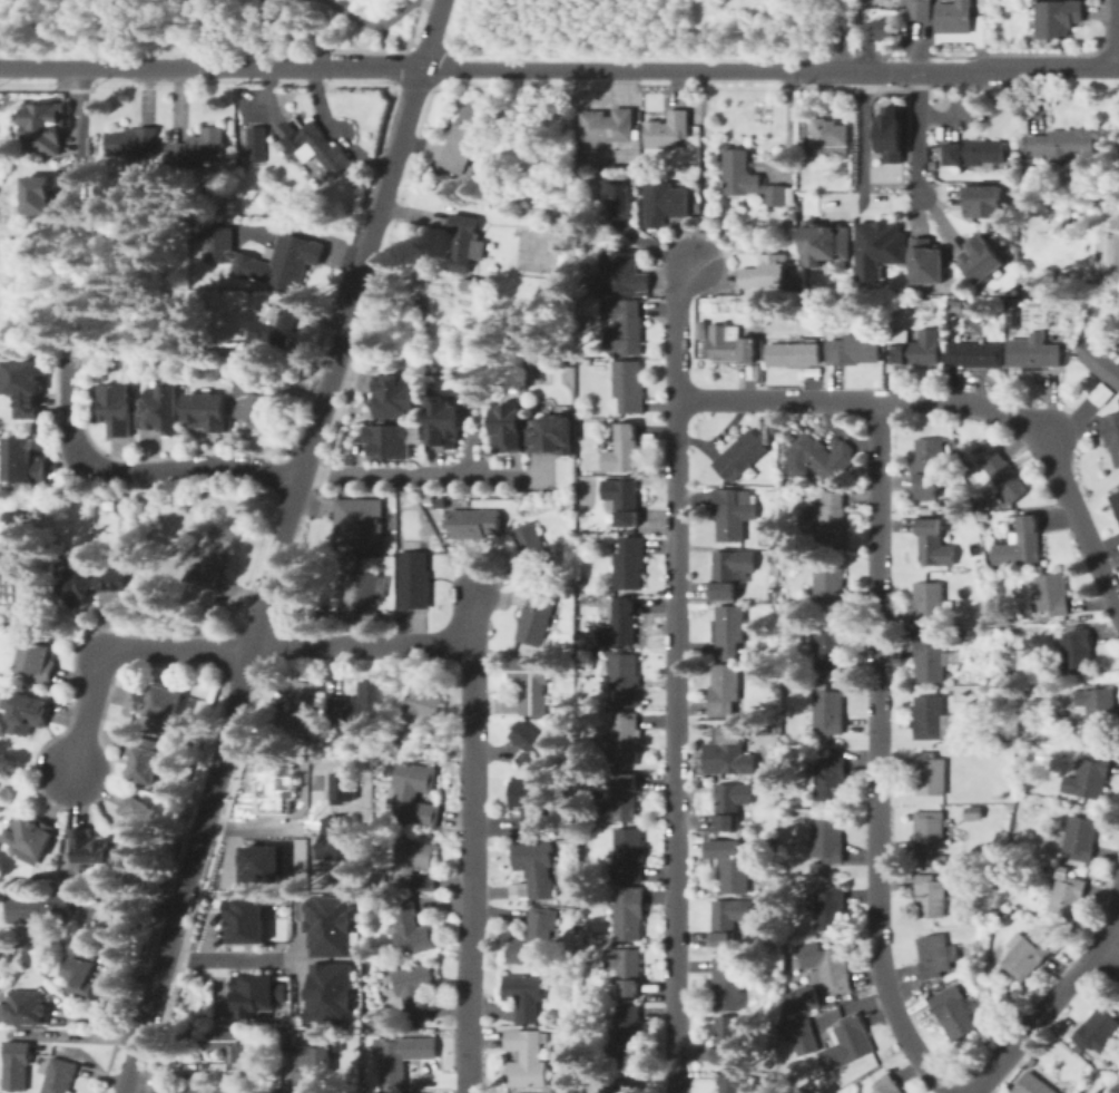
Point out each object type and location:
road: (251, 4)
road: (267, 4)
building: (920, 11)
building: (954, 16)
building: (1058, 19)
road: (383, 20)
park: (199, 26)
building: (882, 26)
road: (181, 29)
road: (293, 29)
street lamp: (415, 33)
road: (1118, 33)
road: (433, 35)
road: (835, 35)
road: (383, 36)
road: (380, 49)
road: (1106, 49)
road: (1057, 51)
road: (413, 58)
road: (1051, 67)
road: (396, 68)
road: (889, 69)
road: (80, 77)
road: (949, 85)
road: (45, 87)
building: (43, 125)
road: (79, 125)
building: (606, 125)
building: (668, 130)
road: (916, 131)
road: (861, 133)
building: (890, 133)
building: (467, 137)
building: (830, 137)
building: (136, 143)
building: (259, 143)
building: (1063, 144)
building: (314, 145)
building: (202, 147)
building: (974, 153)
road: (699, 166)
building: (583, 170)
building: (747, 176)
building: (617, 197)
building: (50, 201)
building: (987, 201)
road: (383, 202)
building: (664, 203)
building: (695, 206)
building: (791, 207)
building: (561, 215)
building: (792, 223)
building: (582, 235)
building: (1014, 235)
building: (826, 240)
building: (464, 243)
building: (878, 248)
building: (983, 257)
building: (1111, 258)
building: (237, 260)
building: (930, 261)
building: (841, 264)
building: (622, 271)
building: (763, 273)
building: (471, 283)
building: (884, 286)
building: (894, 305)
building: (956, 308)
building: (1011, 315)
building: (627, 322)
building: (700, 324)
building: (276, 331)
building: (730, 344)
building: (230, 347)
building: (915, 347)
building: (854, 349)
building: (793, 352)
building: (1033, 352)
building: (975, 354)
building: (1102, 361)
building: (759, 371)
building: (629, 386)
building: (26, 387)
building: (396, 396)
road: (958, 399)
building: (261, 400)
road: (321, 407)
building: (117, 409)
building: (164, 410)
building: (210, 411)
building: (445, 422)
building: (773, 426)
building: (510, 427)
building: (796, 430)
building: (1111, 432)
building: (553, 435)
building: (789, 437)
building: (387, 440)
building: (621, 448)
building: (740, 453)
road: (472, 455)
building: (818, 458)
building: (24, 461)
building: (927, 467)
road: (139, 475)
road: (424, 475)
building: (1004, 475)
building: (622, 499)
building: (122, 502)
building: (1115, 502)
building: (733, 513)
building: (984, 515)
building: (827, 521)
building: (474, 523)
building: (359, 524)
building: (17, 529)
building: (764, 540)
building: (1021, 541)
building: (449, 543)
building: (934, 543)
building: (531, 550)
building: (434, 555)
building: (774, 556)
building: (214, 558)
building: (629, 563)
road: (278, 564)
building: (728, 572)
building: (415, 578)
building: (89, 583)
building: (828, 586)
building: (364, 588)
building: (1052, 593)
building: (929, 603)
building: (795, 605)
building: (991, 607)
building: (840, 616)
building: (534, 617)
building: (381, 619)
building: (956, 621)
building: (620, 623)
building: (1035, 630)
building: (728, 631)
building: (951, 637)
road: (363, 642)
building: (831, 647)
road: (181, 650)
building: (1078, 651)
building: (596, 653)
building: (38, 658)
building: (930, 661)
road: (674, 675)
building: (625, 680)
building: (530, 683)
building: (724, 689)
building: (989, 689)
building: (1041, 690)
building: (1015, 693)
road: (243, 699)
building: (155, 700)
building: (1080, 701)
building: (360, 705)
building: (24, 710)
building: (1098, 710)
road: (92, 711)
building: (297, 712)
building: (826, 712)
building: (418, 713)
building: (929, 716)
building: (625, 738)
building: (533, 748)
building: (736, 753)
road: (875, 754)
building: (145, 759)
building: (930, 773)
building: (1088, 777)
building: (826, 778)
building: (340, 787)
building: (271, 788)
building: (413, 793)
building: (622, 798)
building: (732, 803)
building: (529, 806)
building: (774, 808)
building: (973, 812)
building: (137, 816)
road: (256, 824)
building: (929, 831)
building: (1079, 836)
building: (28, 837)
building: (338, 837)
building: (828, 839)
road: (469, 842)
building: (766, 842)
building: (92, 851)
building: (628, 855)
building: (941, 858)
building: (261, 862)
building: (414, 865)
building: (734, 865)
building: (816, 867)
building: (532, 871)
road: (188, 884)
building: (1067, 892)
building: (930, 895)
building: (38, 908)
building: (831, 908)
building: (628, 913)
building: (243, 919)
building: (728, 919)
building: (119, 924)
building: (326, 924)
building: (86, 926)
building: (411, 927)
building: (533, 939)
road: (1113, 940)
building: (786, 947)
building: (979, 947)
building: (20, 953)
building: (1024, 954)
building: (935, 955)
road: (225, 958)
building: (774, 964)
building: (625, 967)
building: (80, 969)
building: (832, 970)
building: (727, 983)
building: (418, 990)
building: (326, 993)
building: (251, 994)
building: (526, 995)
road: (1058, 995)
building: (802, 998)
building: (817, 999)
building: (831, 1004)
building: (27, 1007)
building: (955, 1016)
building: (628, 1027)
building: (298, 1031)
building: (1098, 1031)
building: (278, 1032)
road: (89, 1035)
building: (803, 1035)
building: (267, 1036)
building: (726, 1037)
building: (845, 1042)
building: (229, 1048)
building: (403, 1051)
road: (138, 1055)
building: (315, 1057)
building: (527, 1058)
building: (12, 1063)
building: (219, 1067)
building: (60, 1075)
building: (333, 1080)
building: (624, 1083)
building: (732, 1083)
building: (887, 1084)
building: (1031, 1084)
building: (818, 1087)
road: (216, 1091)

